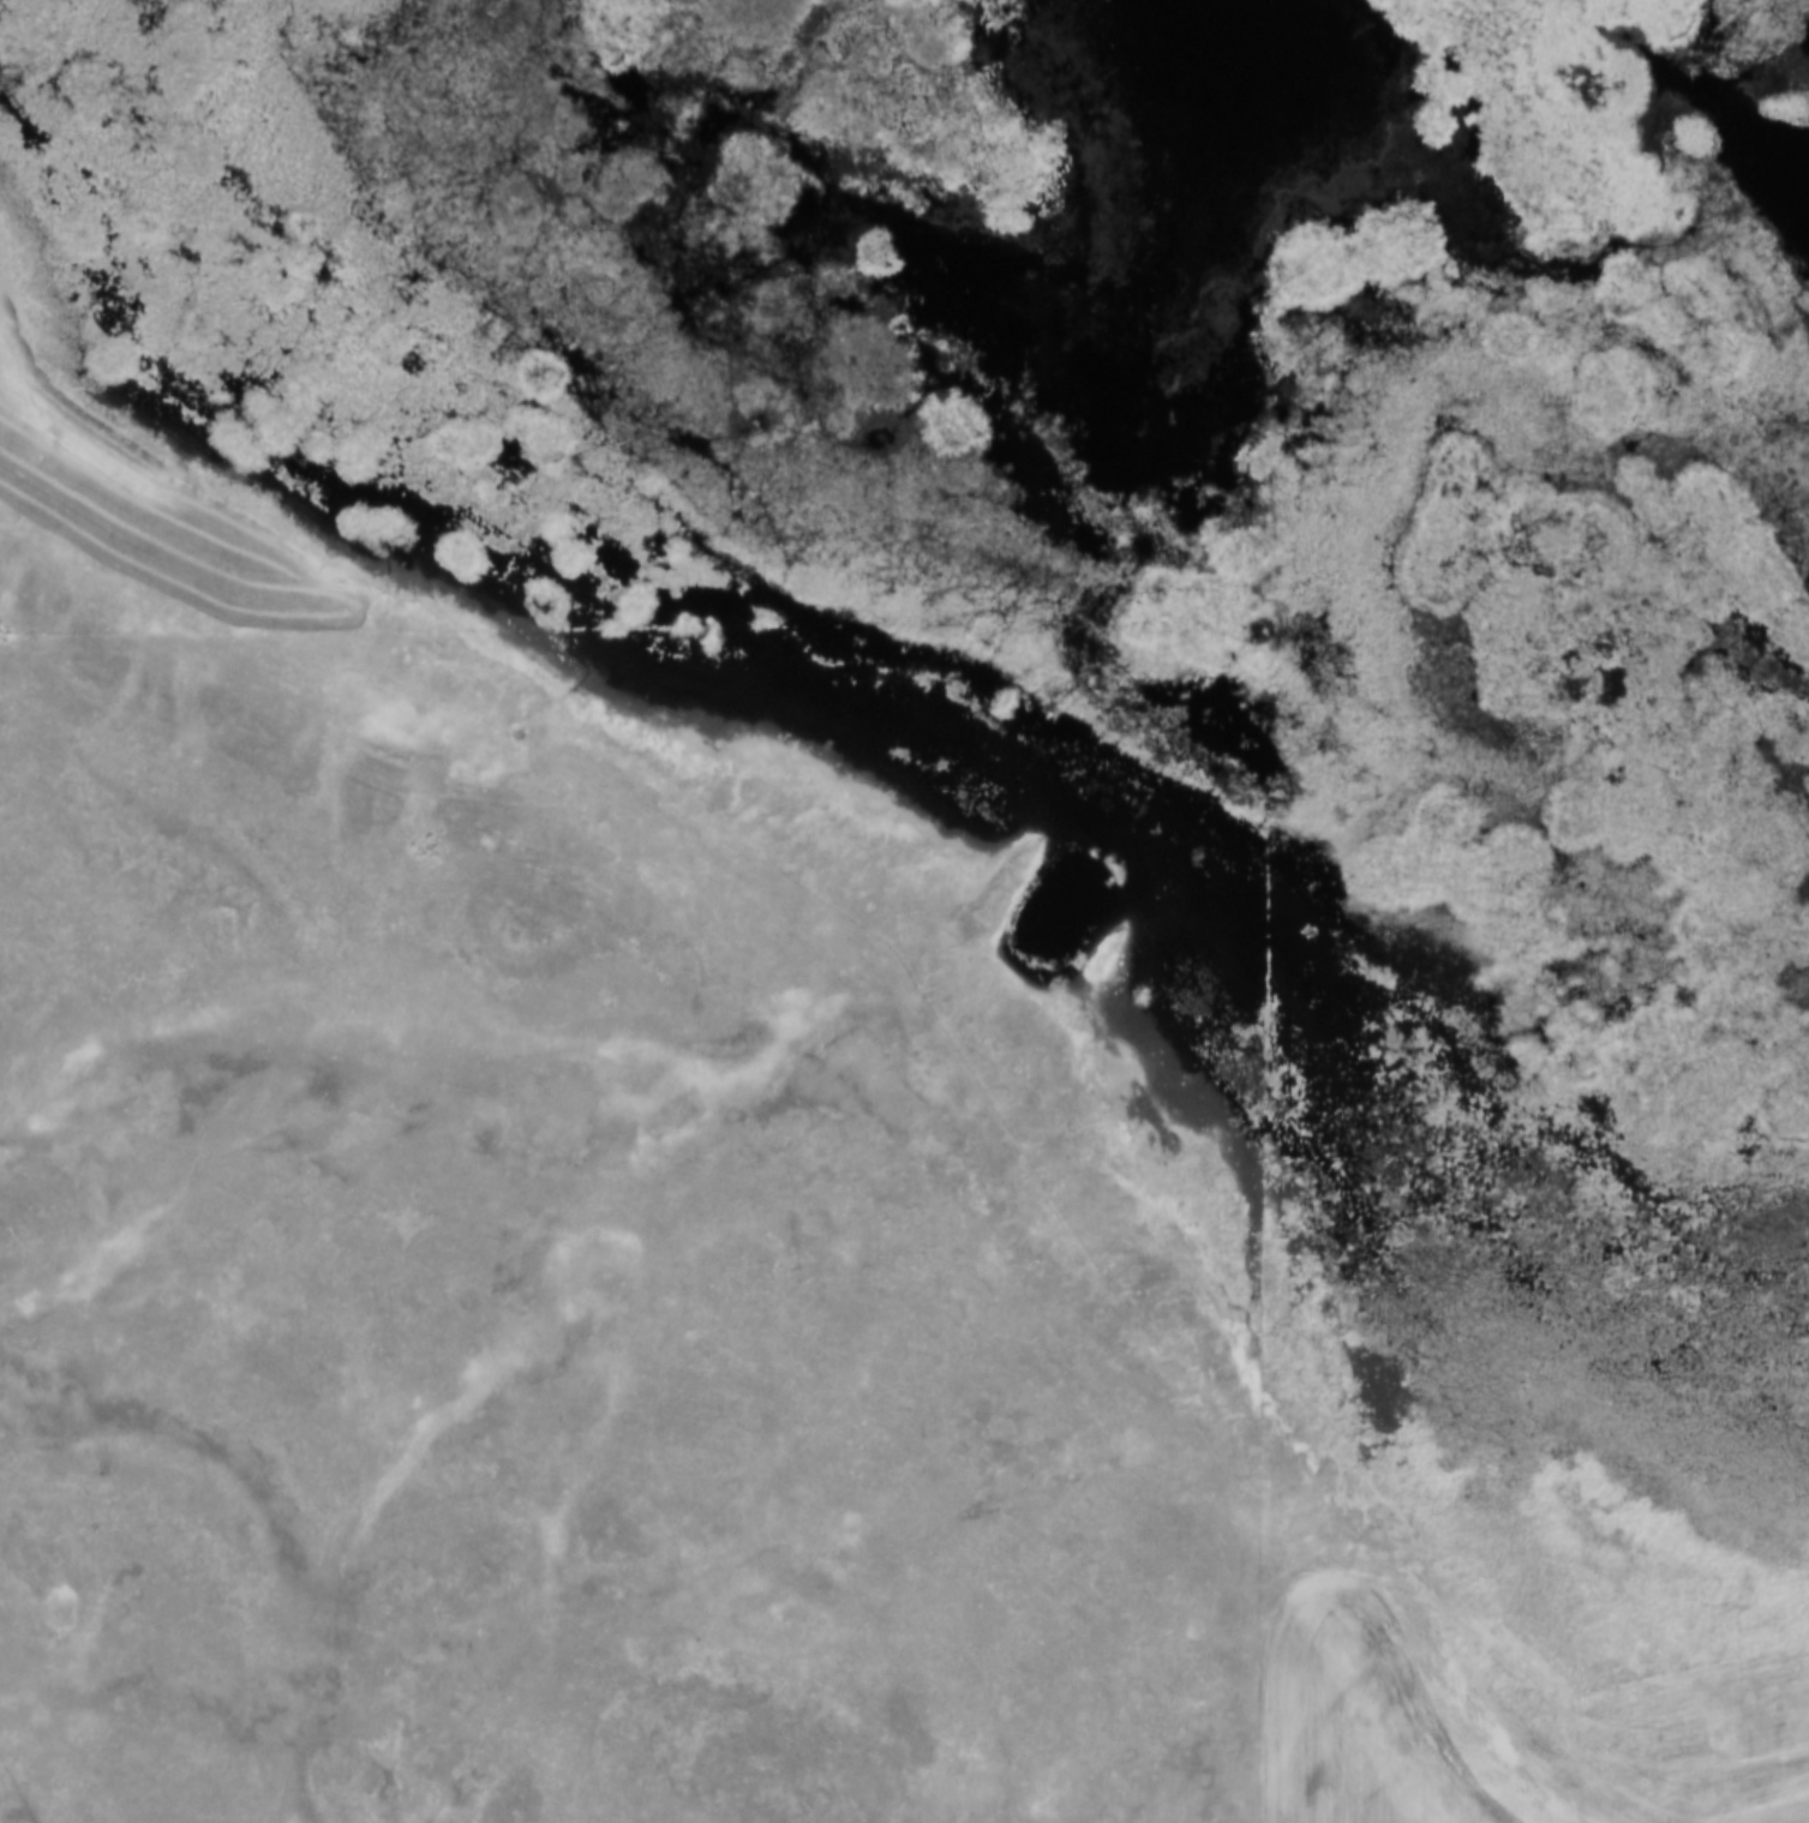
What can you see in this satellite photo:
building: (1751, 1500)

